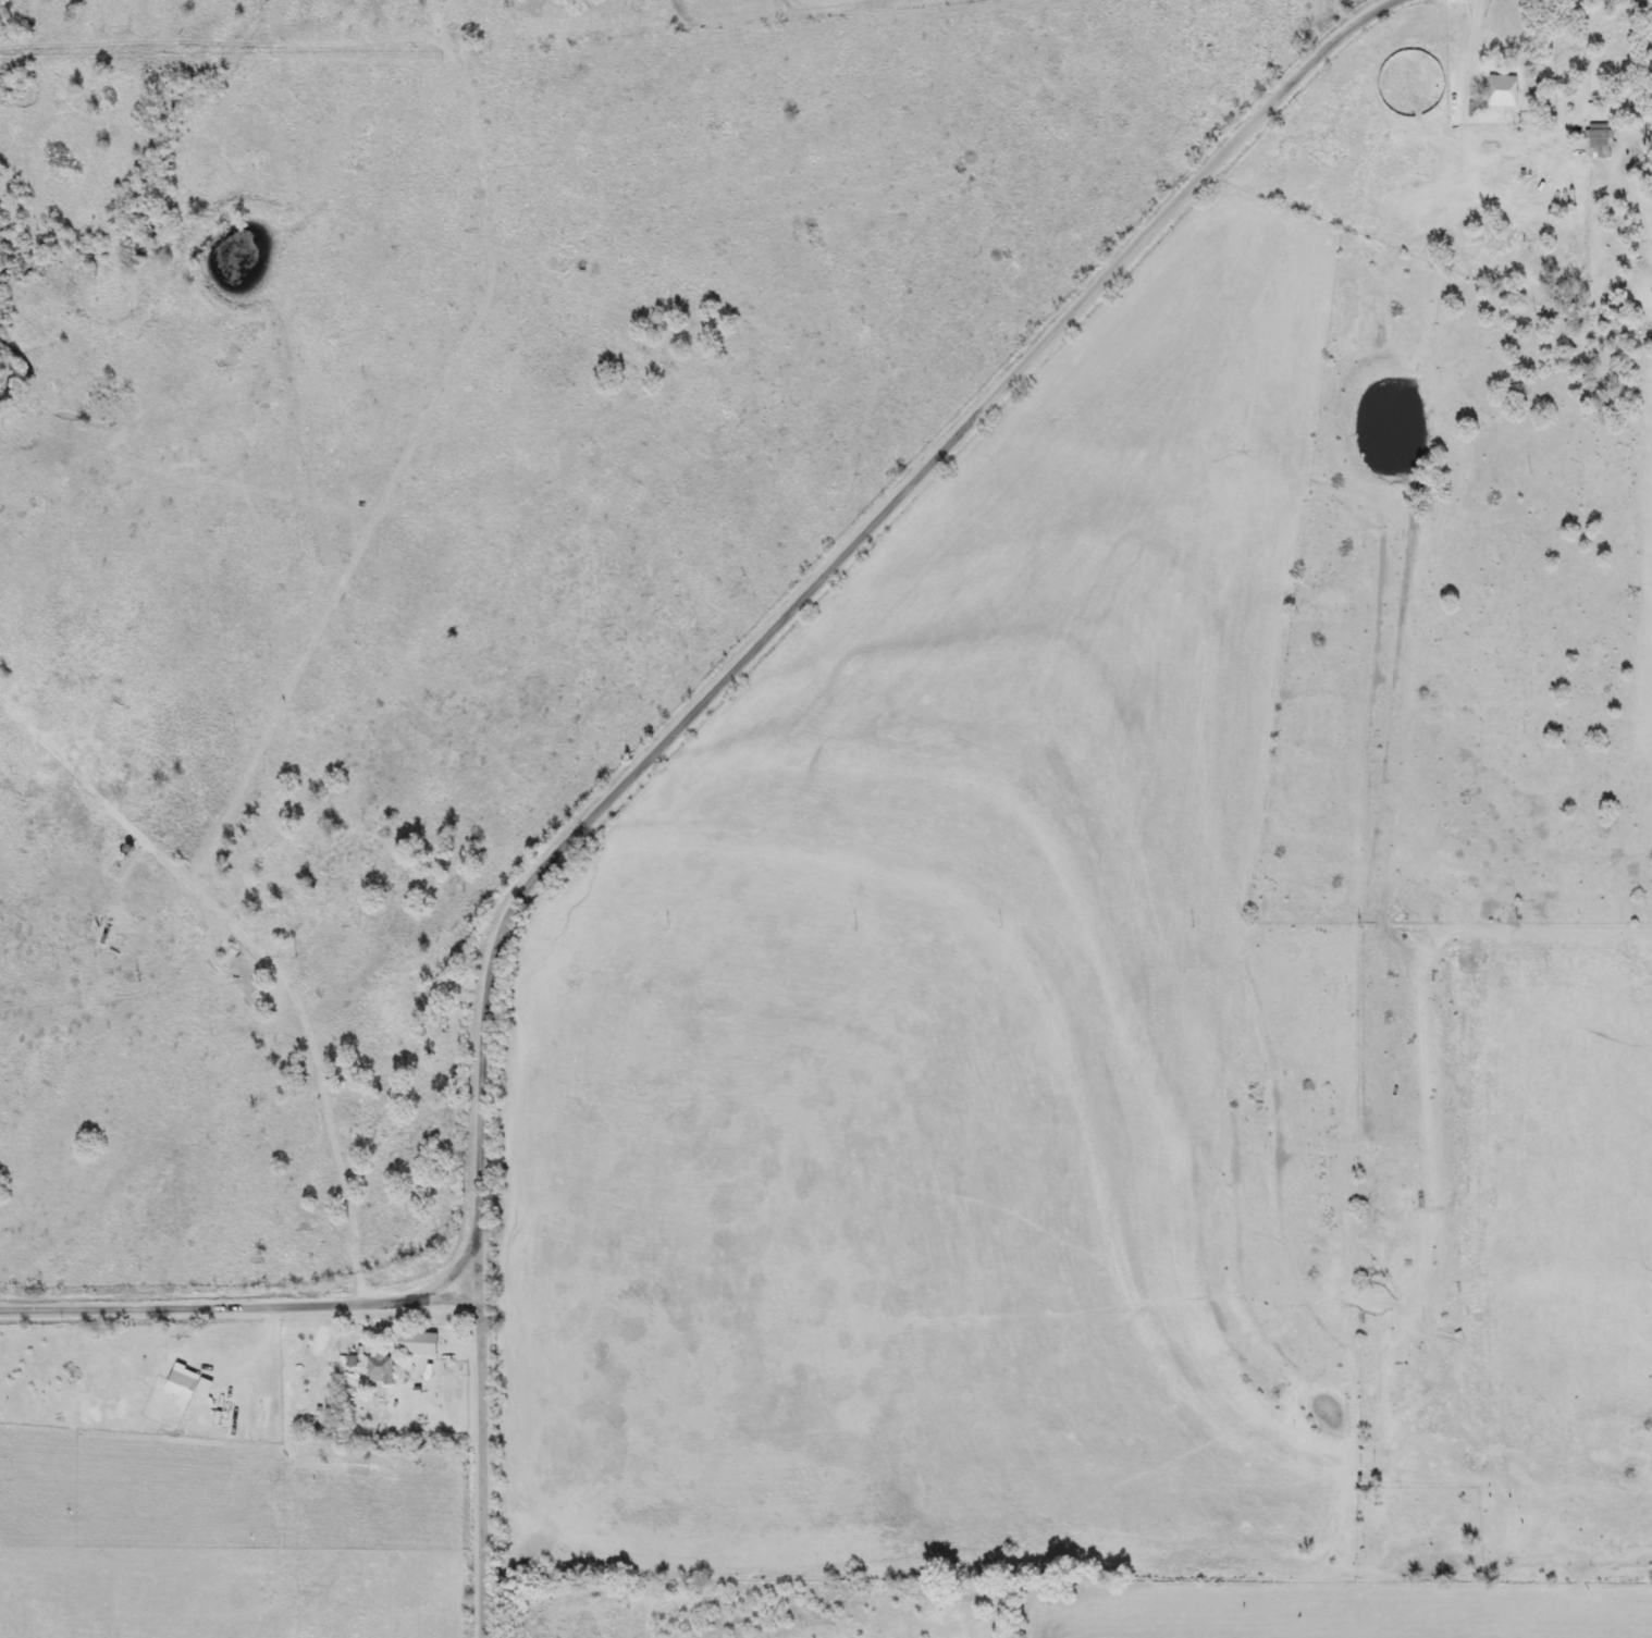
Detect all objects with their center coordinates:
building: (1497, 91)
building: (1599, 141)
road: (694, 710)
road: (313, 1049)
road: (238, 1304)
building: (382, 1369)
building: (184, 1388)

